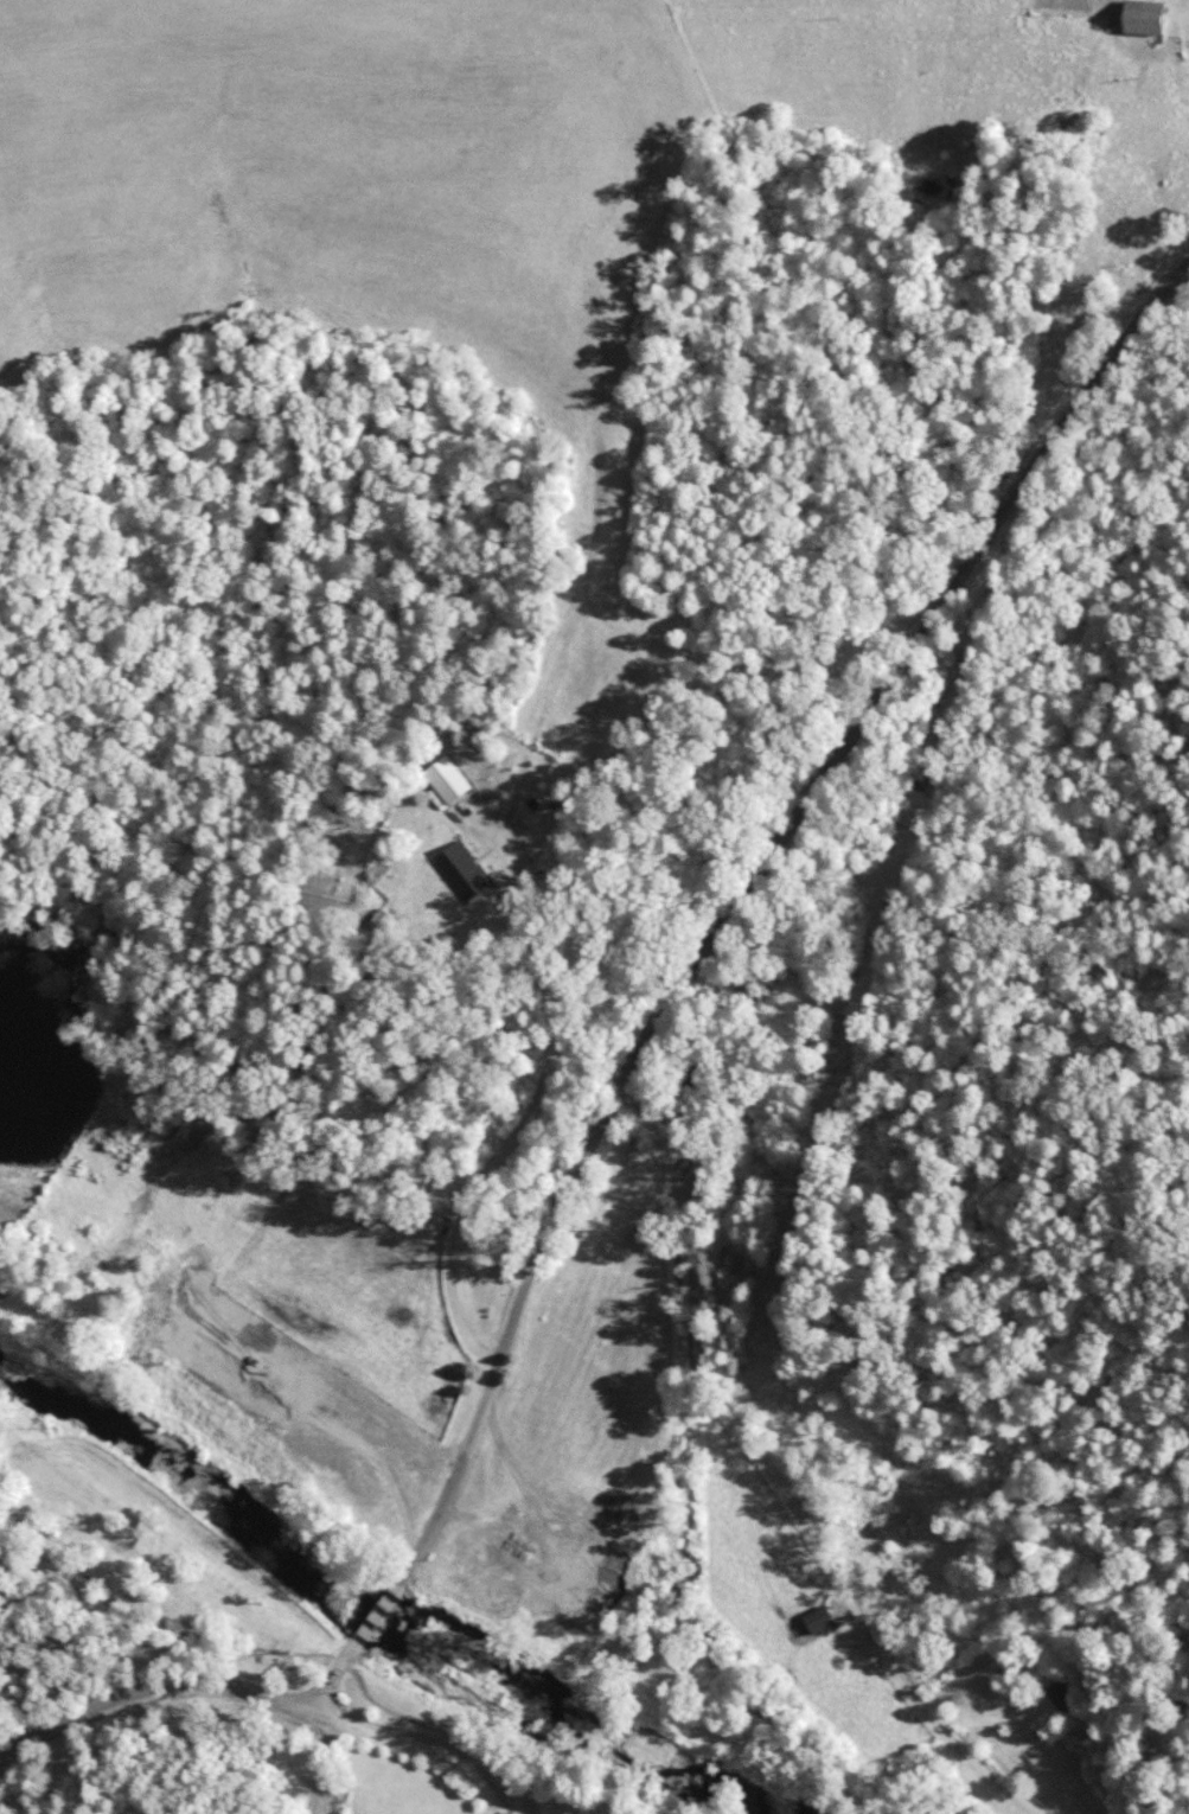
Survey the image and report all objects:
building: (1156, 18)
building: (462, 870)
road: (701, 969)
road: (782, 1496)
building: (820, 1618)
river: (436, 1646)
building: (344, 1655)
road: (146, 1686)
building: (1059, 1691)
road: (418, 1744)
building: (1054, 1770)
park: (388, 1796)
road: (499, 1809)

